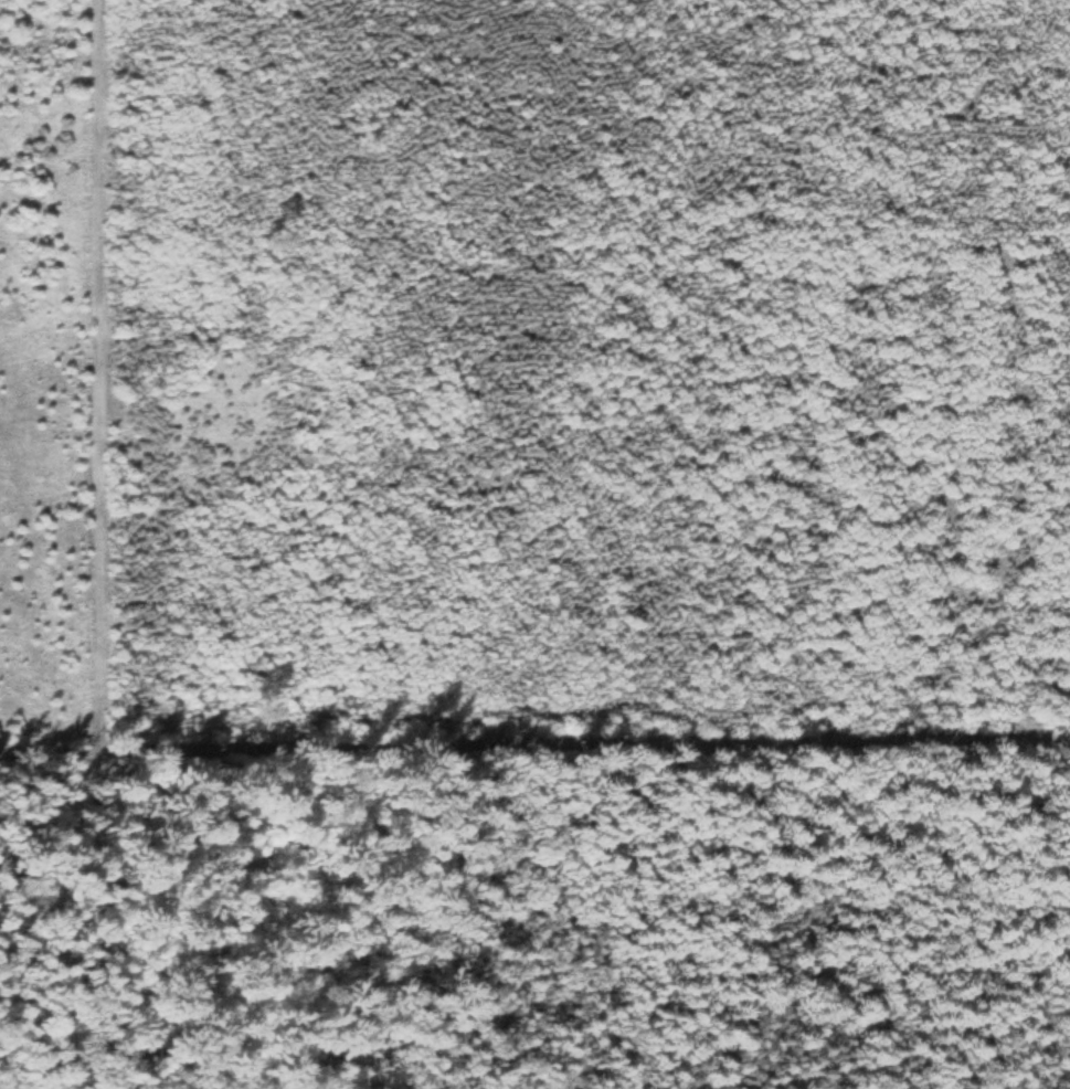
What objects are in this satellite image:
road: (103, 544)
road: (534, 748)

